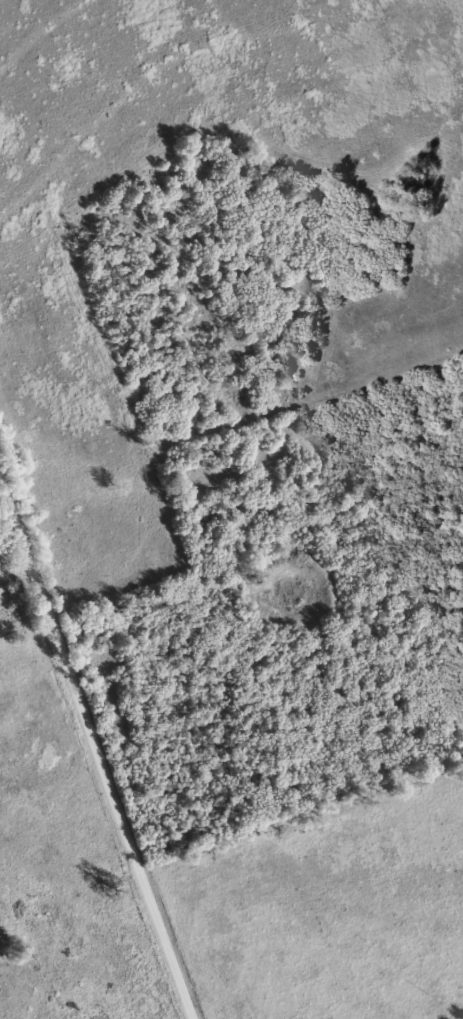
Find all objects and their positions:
road: (90, 758)

